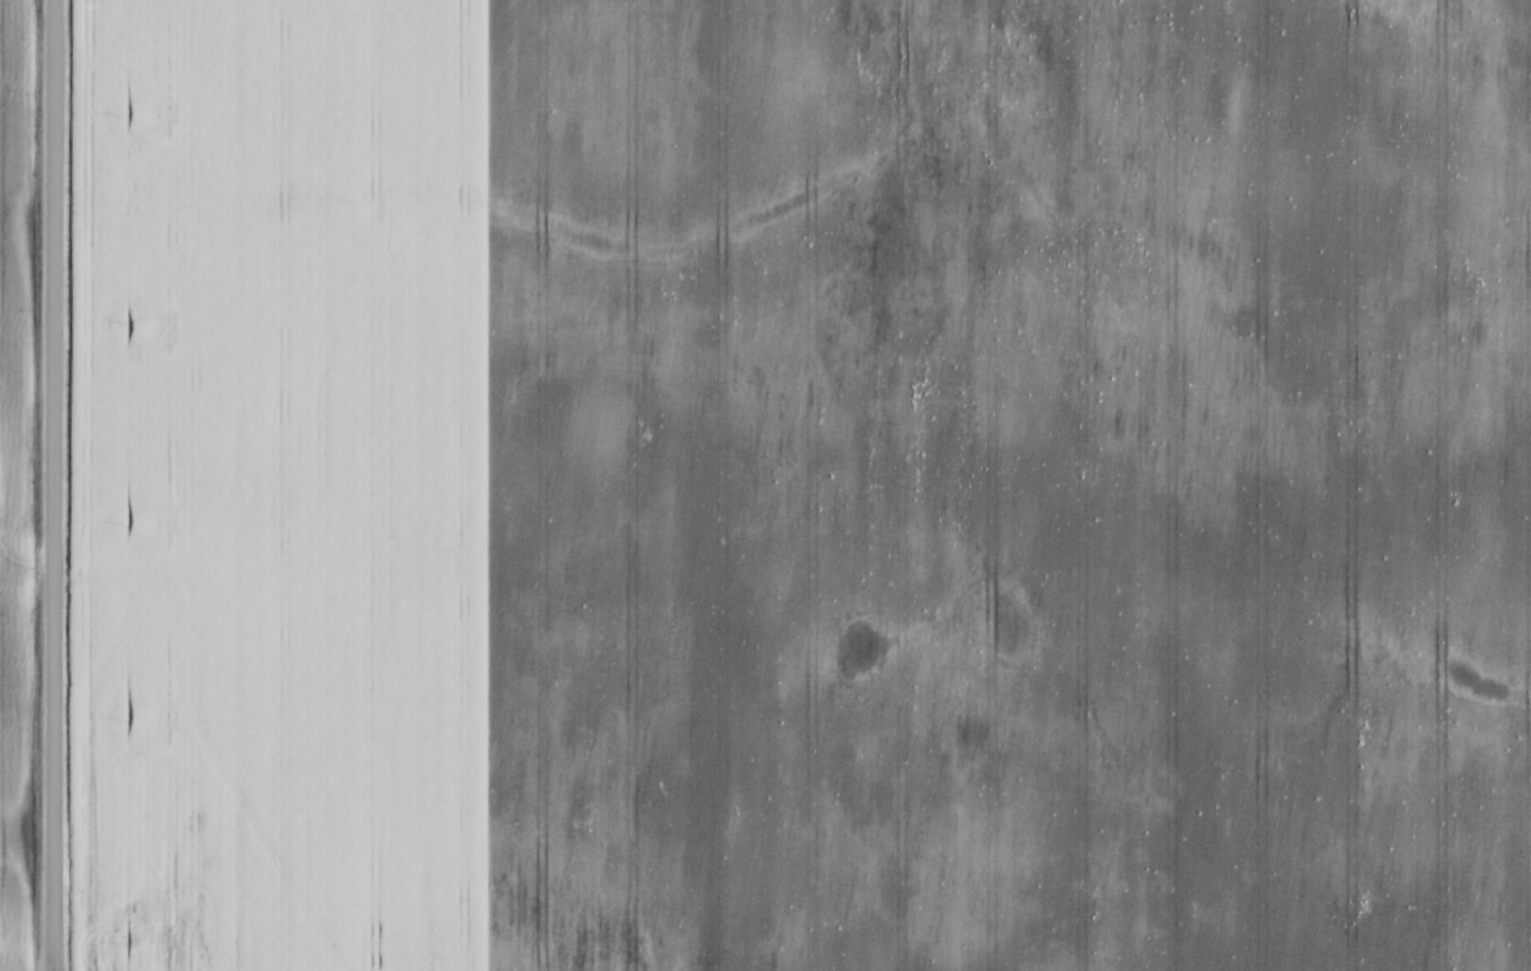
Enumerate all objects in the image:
road: (53, 485)

